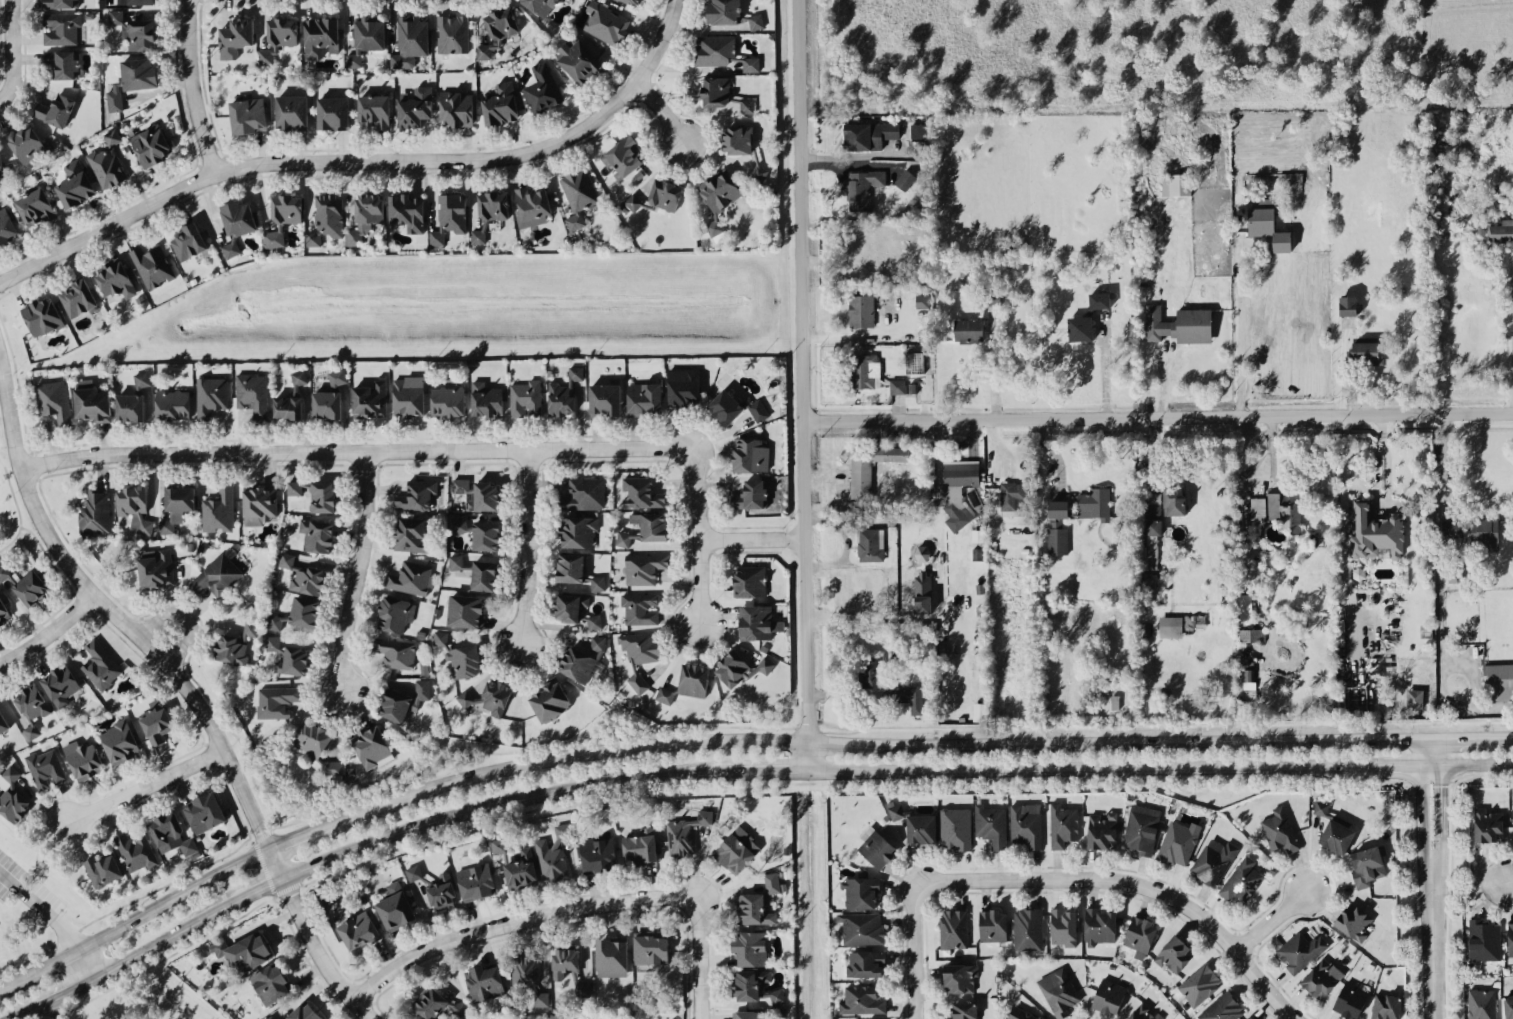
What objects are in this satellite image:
building: (630, 1)
building: (136, 2)
building: (61, 4)
building: (540, 6)
building: (723, 12)
building: (755, 21)
building: (606, 23)
building: (61, 28)
building: (498, 30)
building: (134, 31)
building: (282, 31)
building: (452, 33)
building: (235, 37)
building: (320, 37)
building: (366, 39)
building: (410, 41)
road: (9, 50)
building: (714, 50)
building: (266, 55)
building: (578, 60)
building: (63, 63)
building: (751, 64)
building: (132, 80)
road: (192, 88)
building: (542, 89)
building: (715, 91)
building: (500, 104)
building: (746, 105)
building: (415, 107)
building: (456, 109)
building: (55, 110)
building: (374, 110)
road: (661, 110)
building: (291, 112)
building: (332, 113)
building: (247, 115)
building: (918, 130)
building: (868, 135)
building: (737, 140)
building: (27, 144)
building: (150, 145)
building: (623, 156)
road: (848, 156)
road: (362, 160)
building: (107, 162)
building: (0, 165)
building: (759, 173)
building: (905, 180)
building: (1176, 184)
building: (74, 185)
building: (862, 188)
building: (665, 194)
building: (578, 195)
building: (719, 197)
building: (632, 203)
building: (35, 207)
building: (531, 207)
building: (407, 211)
building: (489, 213)
building: (364, 217)
building: (449, 217)
building: (238, 218)
building: (283, 218)
building: (326, 218)
building: (1266, 223)
building: (6, 227)
building: (1501, 230)
building: (188, 242)
building: (230, 249)
road: (1512, 263)
building: (152, 266)
building: (116, 280)
building: (989, 298)
building: (78, 299)
building: (1101, 300)
building: (922, 301)
building: (1347, 305)
building: (861, 310)
building: (42, 316)
building: (1179, 324)
building: (1080, 328)
building: (968, 329)
road: (1241, 333)
building: (1366, 353)
building: (913, 362)
road: (994, 367)
road: (1104, 369)
road: (1341, 369)
building: (863, 370)
building: (298, 377)
building: (337, 377)
building: (141, 379)
road: (799, 384)
building: (897, 386)
building: (683, 387)
building: (251, 393)
building: (564, 394)
building: (210, 396)
building: (408, 396)
building: (525, 398)
building: (644, 398)
building: (369, 399)
building: (485, 399)
building: (604, 399)
building: (54, 401)
building: (91, 401)
building: (447, 401)
building: (172, 404)
building: (326, 404)
building: (130, 407)
building: (287, 407)
building: (734, 407)
road: (1156, 417)
road: (328, 453)
building: (750, 455)
road: (1386, 458)
building: (870, 466)
building: (294, 487)
building: (956, 489)
building: (640, 493)
building: (477, 494)
building: (584, 494)
building: (416, 495)
building: (751, 495)
building: (322, 497)
building: (1012, 498)
building: (1173, 500)
road: (700, 501)
building: (1094, 503)
building: (1153, 504)
building: (259, 505)
building: (176, 506)
building: (134, 508)
building: (1278, 508)
road: (17, 509)
building: (1060, 509)
building: (218, 511)
building: (95, 513)
road: (1339, 514)
building: (459, 523)
building: (651, 525)
building: (1451, 528)
building: (1484, 530)
building: (578, 531)
building: (1375, 533)
building: (411, 534)
building: (316, 535)
building: (486, 536)
building: (622, 539)
road: (751, 539)
building: (1057, 540)
building: (1149, 542)
building: (870, 544)
road: (845, 545)
road: (1438, 547)
road: (527, 548)
building: (977, 554)
building: (456, 562)
road: (53, 567)
building: (570, 567)
building: (155, 568)
building: (643, 568)
road: (355, 571)
building: (5, 572)
building: (217, 575)
building: (484, 575)
building: (302, 576)
building: (410, 578)
building: (750, 581)
building: (597, 583)
building: (30, 587)
building: (922, 592)
building: (569, 606)
building: (1245, 607)
building: (639, 608)
building: (304, 611)
building: (465, 611)
building: (3, 612)
building: (394, 614)
road: (848, 616)
road: (182, 619)
building: (274, 622)
building: (758, 623)
building: (1170, 626)
road: (47, 633)
building: (272, 643)
building: (235, 644)
building: (640, 646)
building: (395, 652)
building: (293, 661)
building: (463, 661)
building: (577, 664)
building: (100, 665)
building: (765, 665)
building: (732, 669)
building: (870, 671)
building: (1247, 678)
building: (693, 679)
building: (637, 682)
building: (61, 685)
road: (184, 686)
building: (665, 695)
building: (489, 697)
building: (909, 698)
building: (1414, 698)
building: (550, 700)
building: (276, 701)
building: (403, 701)
building: (31, 709)
building: (3, 723)
building: (156, 725)
road: (1502, 736)
road: (1456, 737)
building: (119, 741)
road: (1113, 742)
building: (372, 747)
building: (318, 751)
road: (591, 752)
building: (83, 760)
road: (1466, 763)
road: (1381, 764)
road: (1075, 766)
building: (44, 767)
road: (763, 770)
building: (10, 774)
road: (145, 787)
road: (1440, 793)
road: (494, 803)
building: (13, 805)
building: (1320, 808)
building: (896, 811)
building: (205, 812)
building: (1512, 813)
building: (1026, 824)
road: (324, 825)
building: (990, 825)
building: (1062, 825)
building: (1488, 825)
building: (921, 828)
building: (954, 828)
building: (1141, 828)
building: (1279, 830)
building: (1102, 831)
road: (1420, 833)
building: (170, 834)
building: (685, 834)
building: (1336, 836)
building: (1178, 842)
building: (498, 845)
building: (640, 847)
building: (876, 847)
building: (736, 850)
building: (135, 851)
building: (553, 852)
building: (598, 855)
building: (1213, 861)
building: (1367, 865)
building: (102, 870)
building: (521, 870)
building: (1241, 880)
road: (1508, 880)
building: (476, 881)
road: (1130, 885)
road: (1436, 888)
building: (441, 892)
building: (861, 892)
road: (251, 893)
road: (171, 896)
building: (758, 902)
building: (395, 906)
road: (39, 910)
park: (30, 911)
road: (1271, 919)
road: (516, 921)
building: (1353, 922)
building: (992, 925)
building: (1063, 926)
building: (1099, 926)
building: (861, 927)
building: (953, 928)
building: (1027, 929)
building: (358, 931)
building: (1140, 936)
building: (1484, 940)
road: (156, 942)
building: (1510, 943)
building: (651, 948)
building: (750, 948)
road: (915, 950)
building: (1300, 951)
building: (244, 952)
building: (1174, 954)
road: (698, 955)
building: (611, 957)
road: (83, 961)
building: (564, 962)
road: (42, 963)
building: (865, 963)
building: (524, 972)
road: (1432, 973)
building: (959, 978)
building: (1321, 978)
road: (4, 982)
building: (484, 983)
building: (748, 983)
building: (271, 984)
building: (1199, 984)
building: (581, 988)
road: (60, 991)
building: (1058, 991)
building: (773, 996)
building: (1108, 996)
building: (541, 999)
building: (862, 1000)
building: (1350, 1000)
building: (1482, 1003)
building: (431, 1004)
building: (1386, 1006)
building: (1508, 1006)
building: (458, 1008)
building: (1222, 1008)
building: (963, 1011)
building: (304, 1012)
road: (19, 1013)
building: (748, 1014)
building: (1021, 1014)
building: (269, 1017)
building: (1248, 1018)

